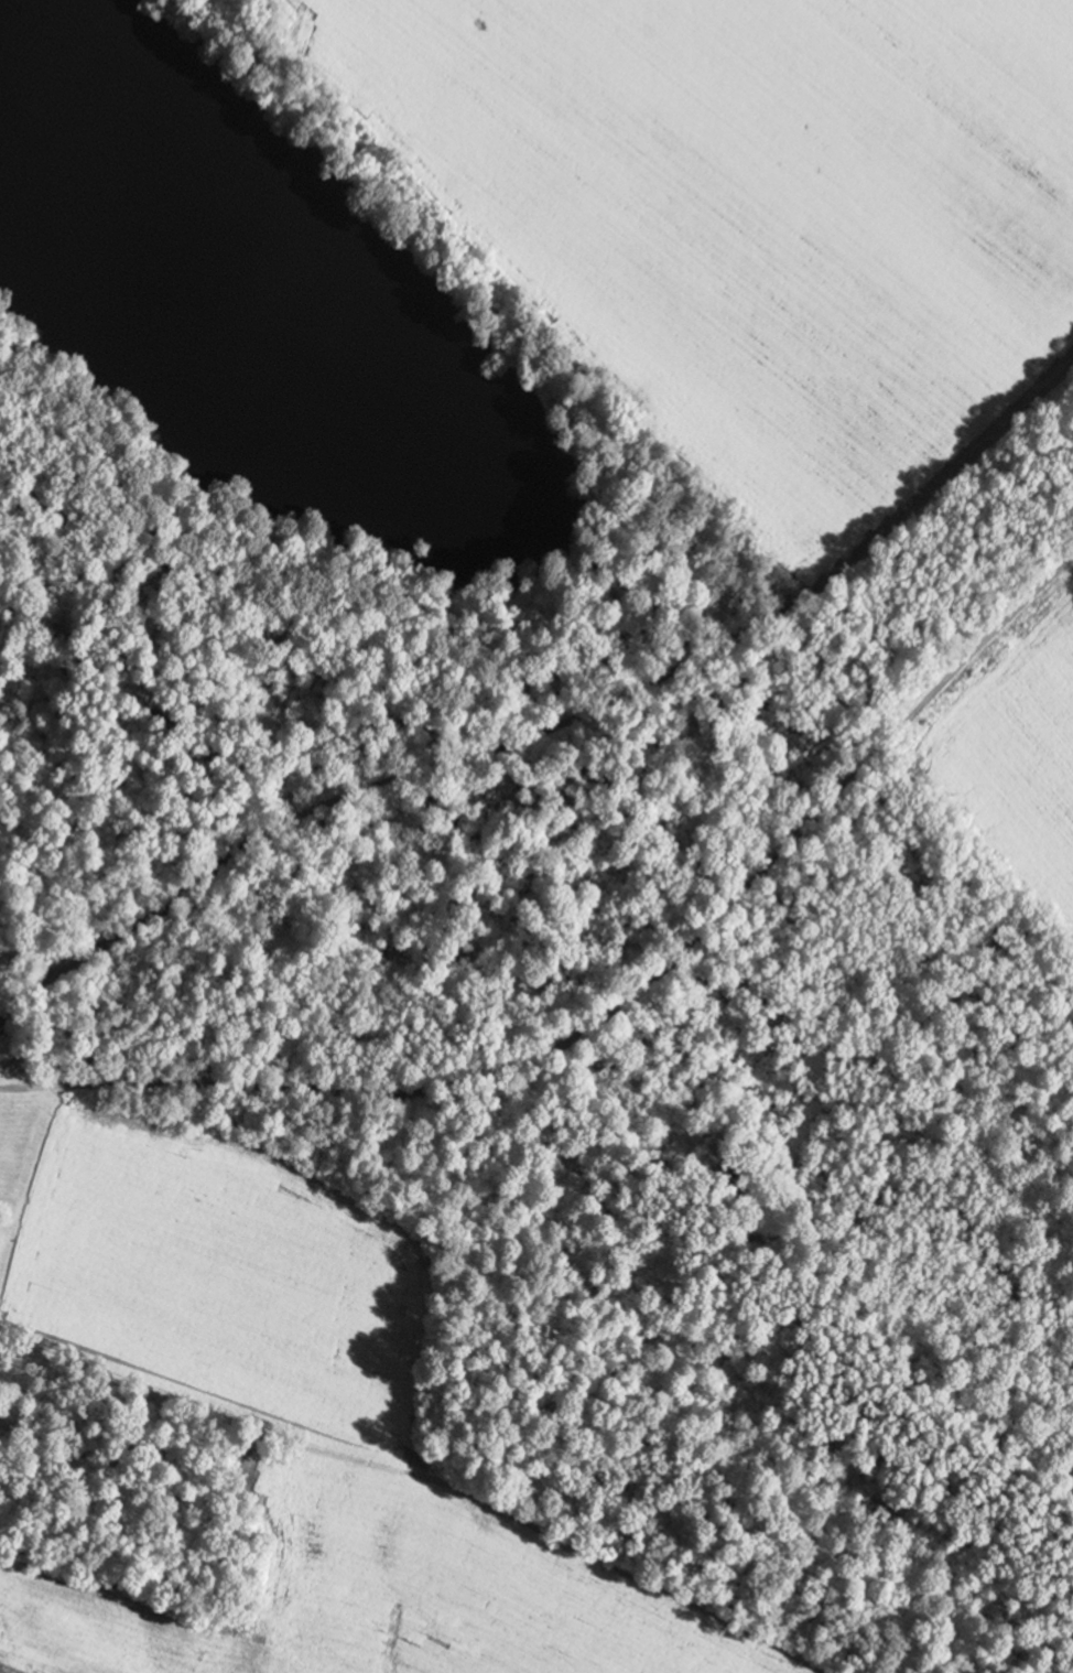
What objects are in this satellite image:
road: (310, 985)

